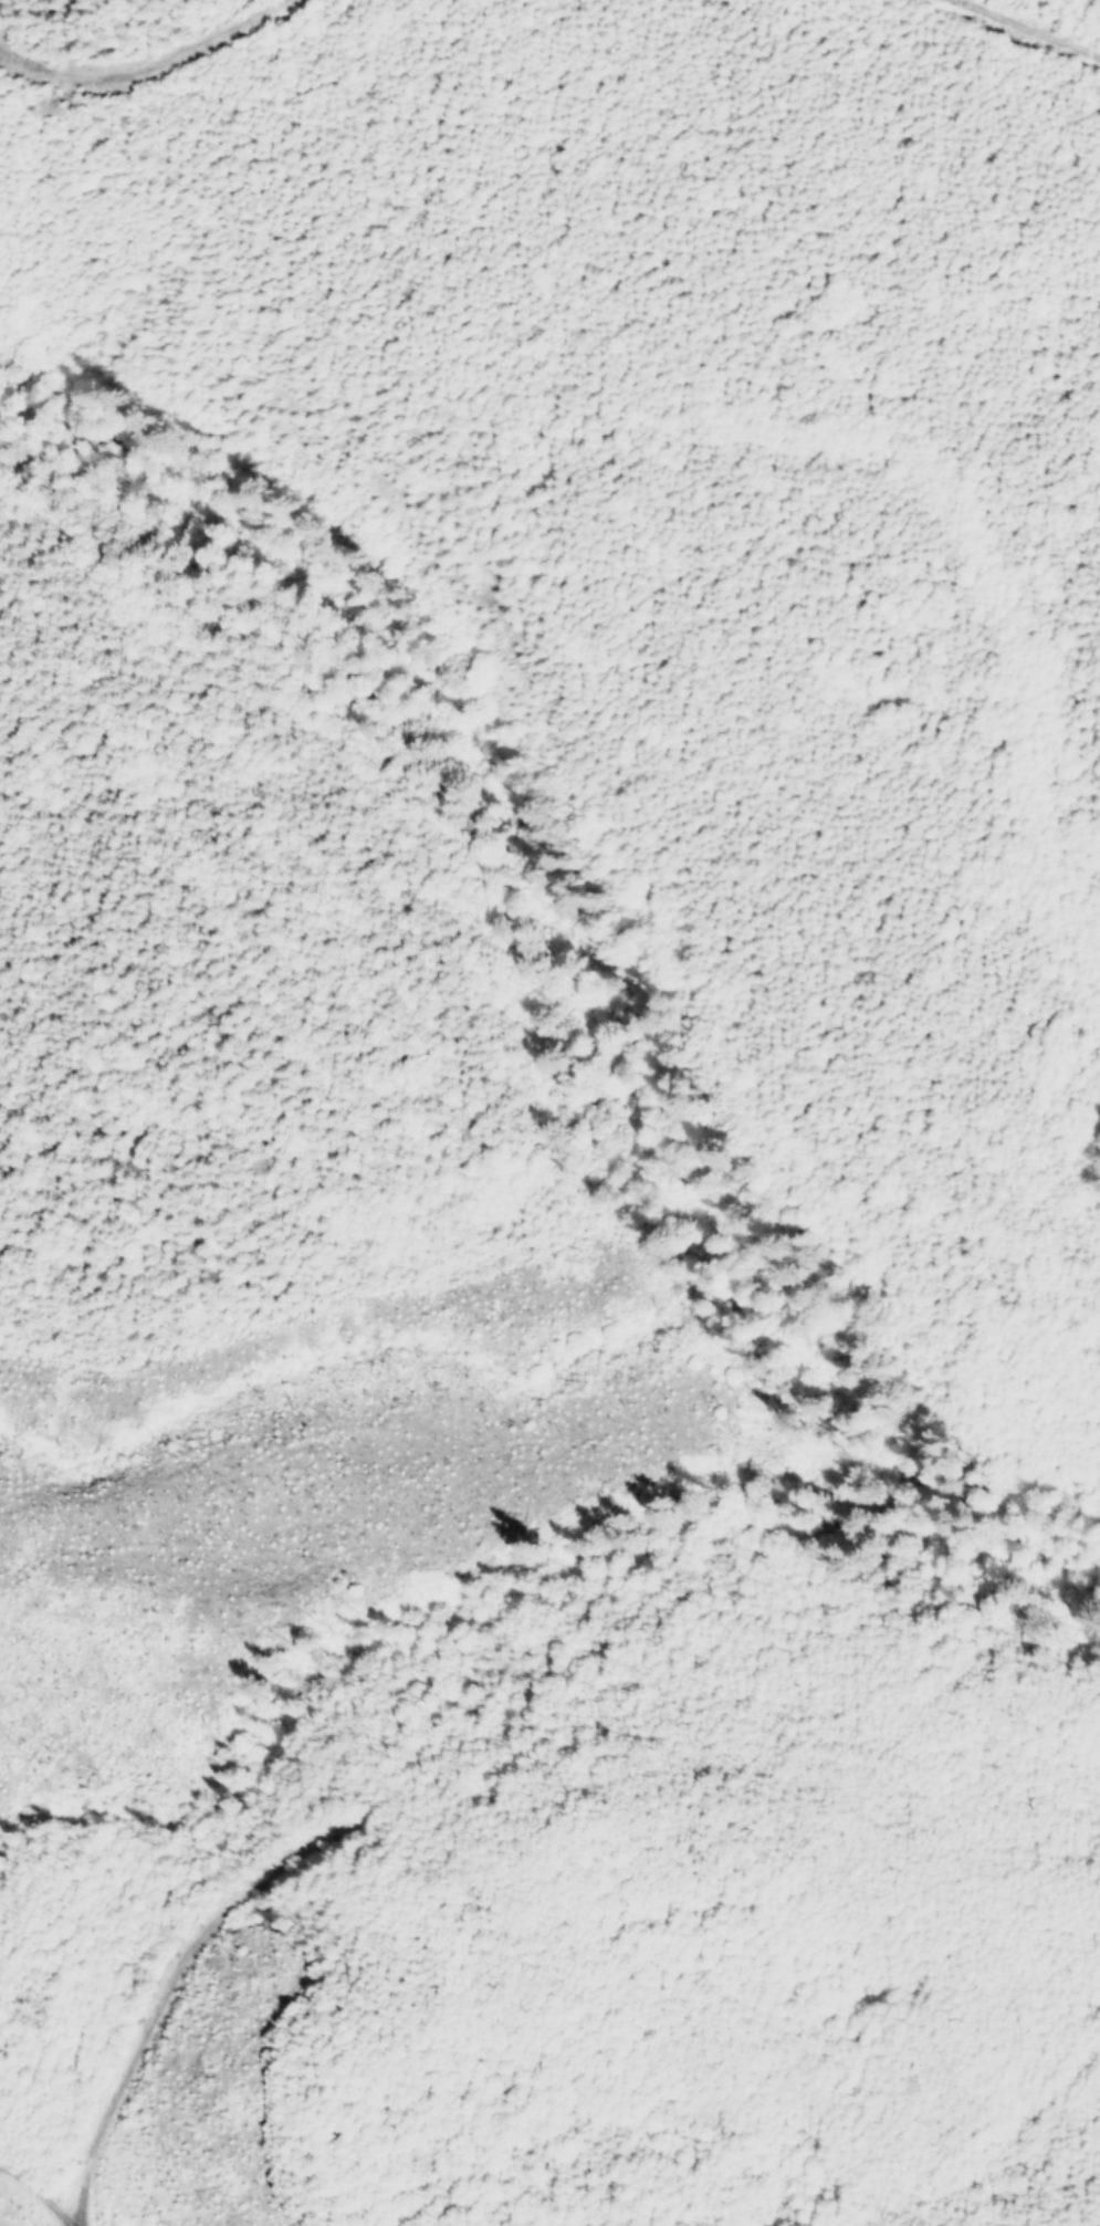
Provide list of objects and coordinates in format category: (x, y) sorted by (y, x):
road: (36, 2191)

